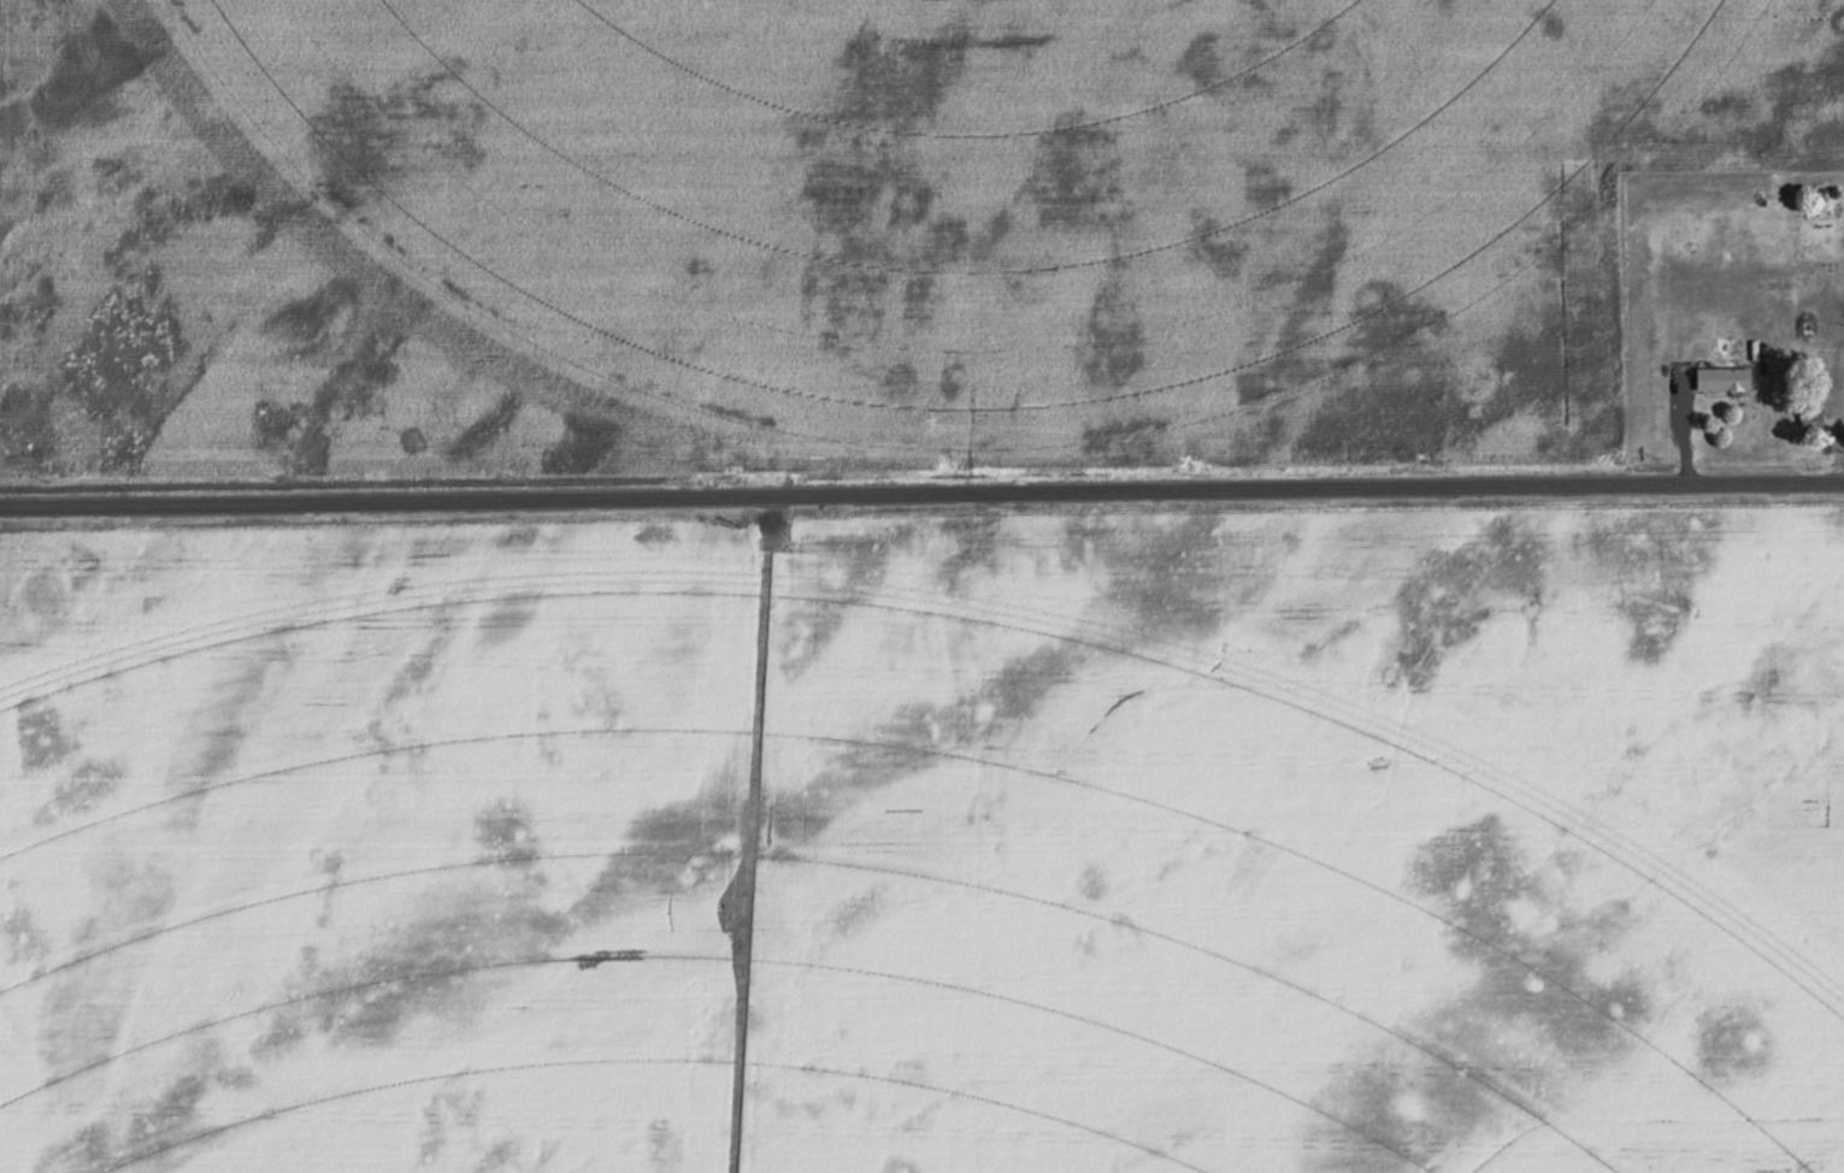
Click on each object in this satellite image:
building: (1762, 348)
building: (1721, 376)
building: (1809, 413)
road: (1842, 413)
road: (1685, 418)
road: (921, 490)

